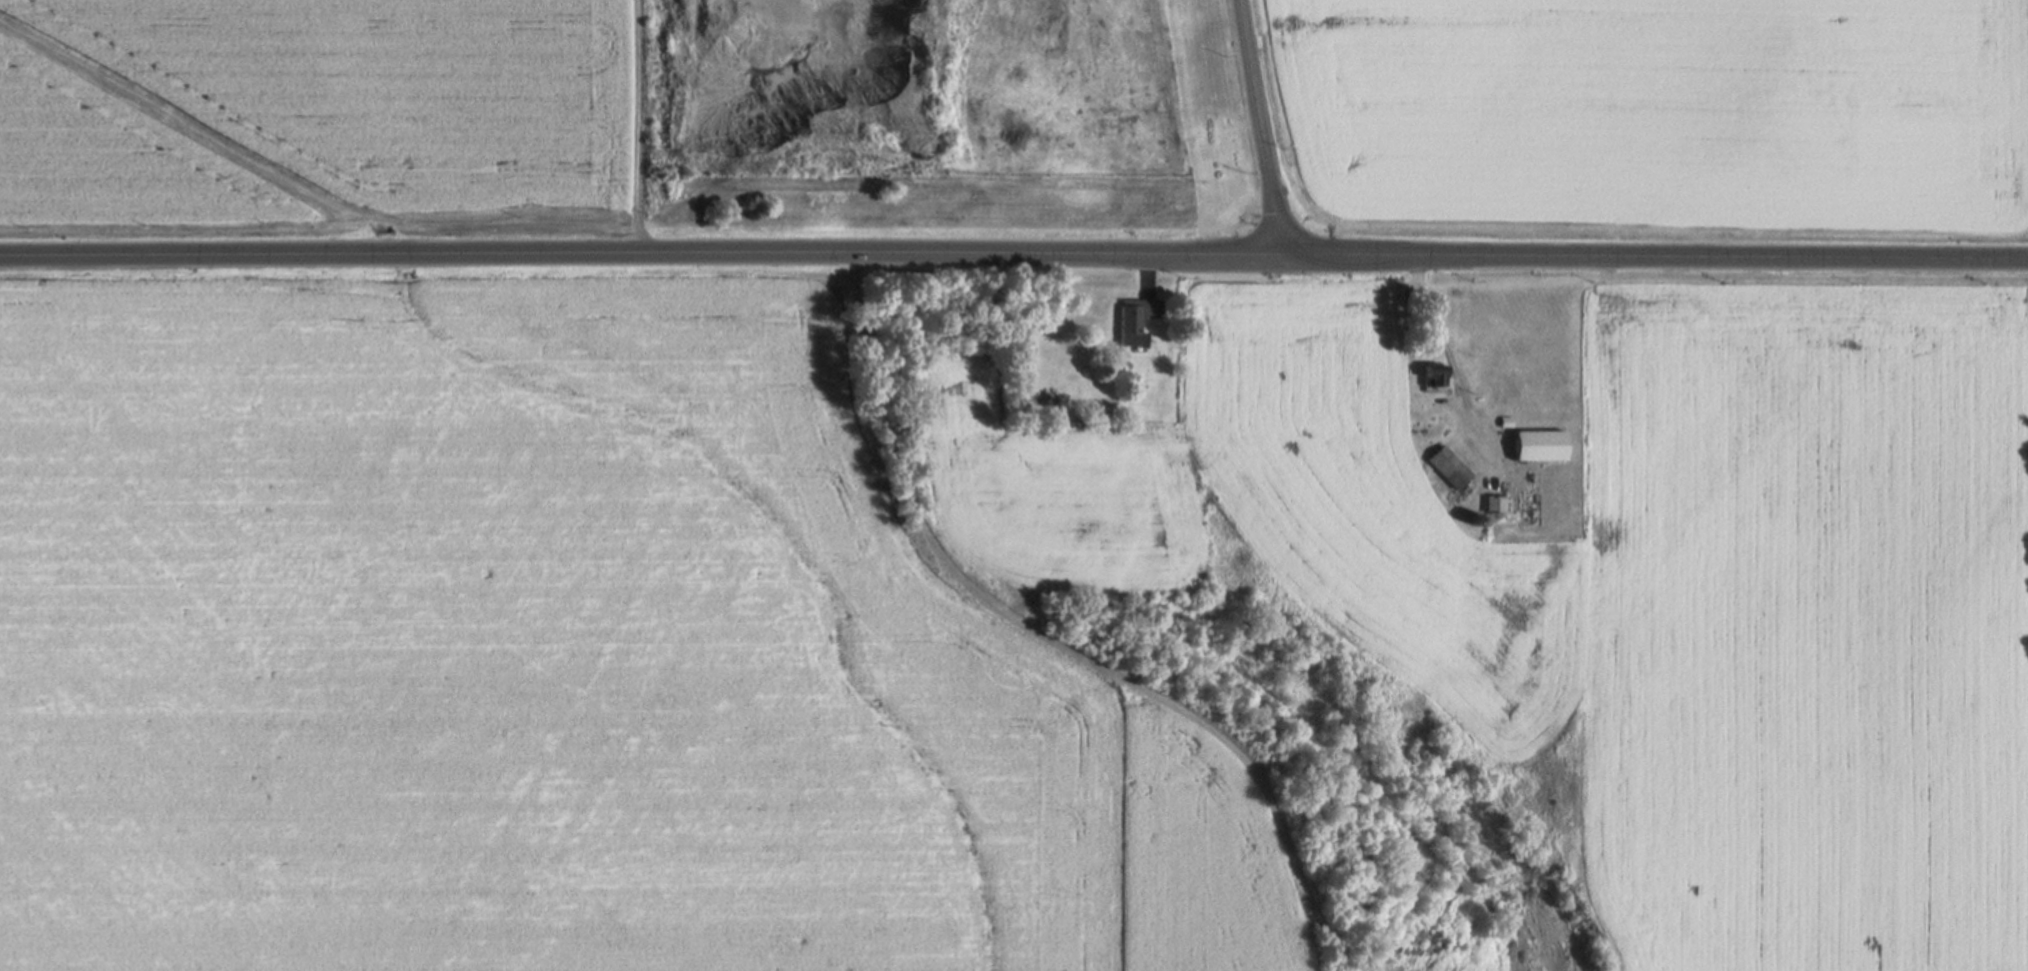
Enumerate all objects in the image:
road: (640, 126)
road: (1264, 128)
road: (643, 253)
road: (1657, 258)
road: (1148, 274)
building: (1138, 319)
road: (1444, 345)
building: (1434, 374)
building: (1530, 450)
building: (1449, 467)
road: (1057, 644)

